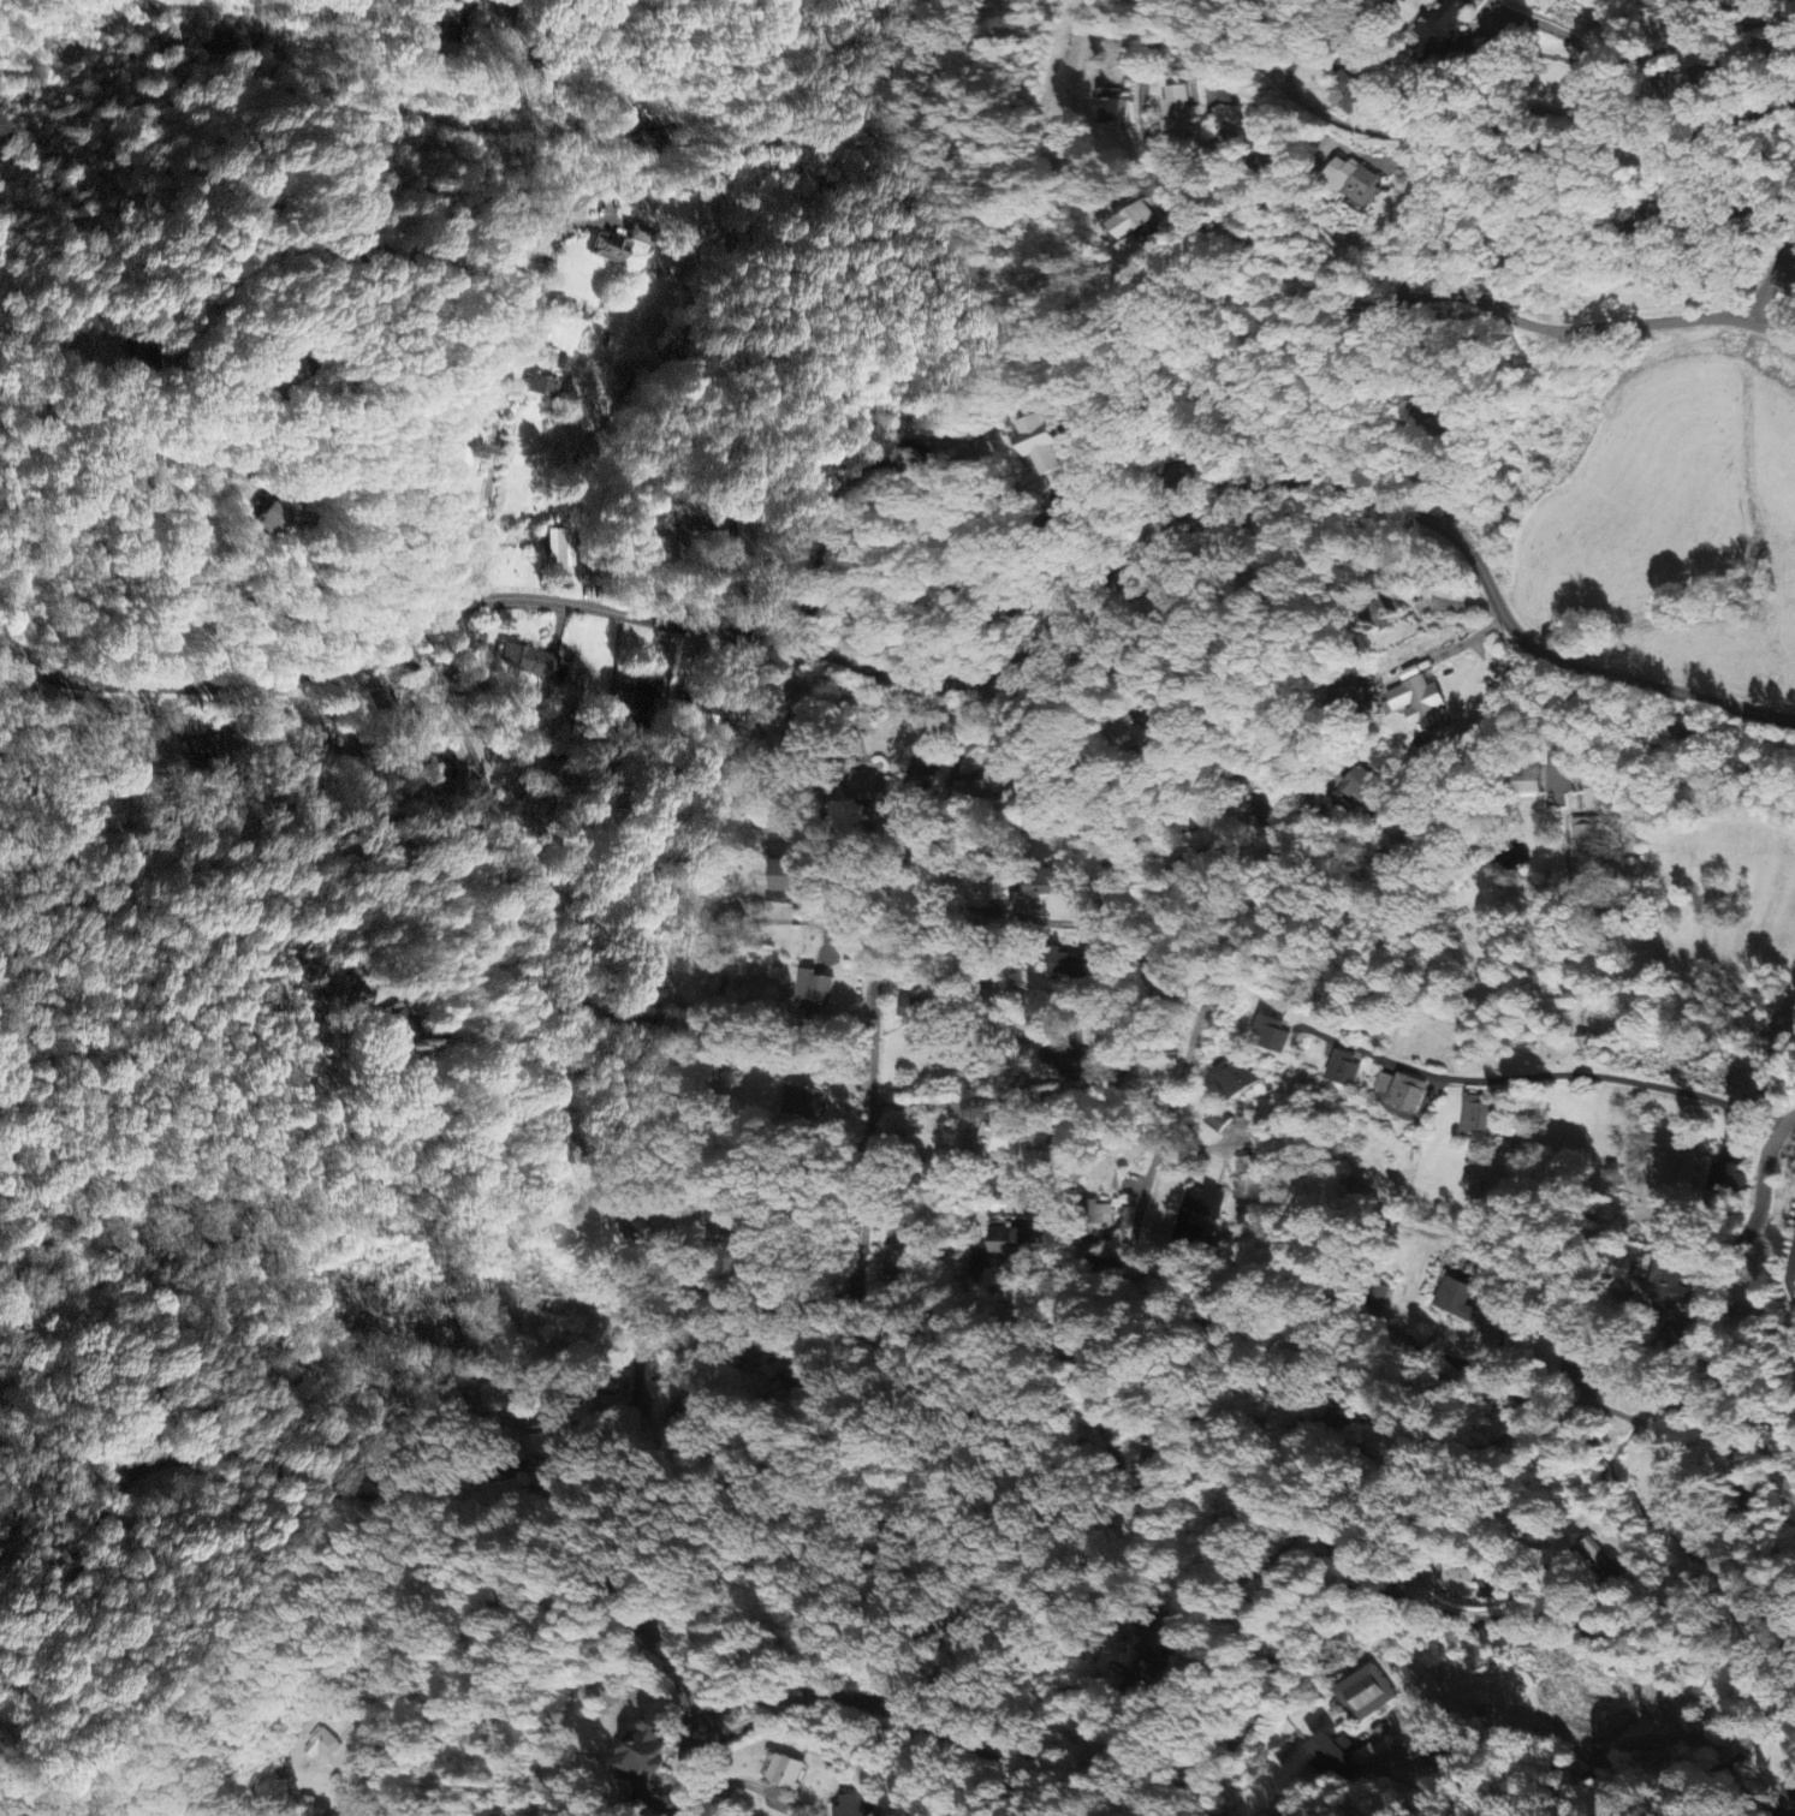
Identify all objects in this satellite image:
building: (1448, 36)
road: (1652, 36)
building: (1355, 99)
building: (1108, 109)
building: (1178, 111)
road: (1491, 114)
building: (629, 124)
building: (1355, 183)
building: (1133, 221)
building: (607, 251)
building: (1136, 251)
road: (228, 272)
building: (1789, 280)
road: (536, 296)
road: (1365, 304)
road: (684, 331)
building: (543, 388)
road: (934, 445)
building: (1038, 445)
building: (457, 463)
road: (1422, 471)
building: (268, 522)
building: (559, 548)
road: (1242, 588)
building: (534, 665)
road: (950, 683)
building: (380, 702)
building: (1419, 704)
building: (1128, 738)
building: (800, 743)
road: (1146, 761)
building: (442, 780)
building: (1359, 785)
building: (992, 786)
building: (867, 788)
road: (1675, 790)
building: (1615, 821)
building: (1587, 850)
building: (791, 876)
building: (1047, 885)
building: (1064, 965)
building: (814, 989)
road: (1623, 993)
road: (875, 996)
building: (919, 1011)
building: (397, 1025)
building: (1273, 1034)
building: (1066, 1059)
building: (1344, 1071)
building: (1232, 1079)
building: (1401, 1091)
building: (1480, 1115)
building: (997, 1139)
road: (1152, 1169)
building: (1725, 1178)
road: (488, 1204)
building: (1199, 1211)
building: (1015, 1243)
building: (902, 1264)
road: (1791, 1269)
building: (1672, 1281)
road: (854, 1297)
building: (1457, 1299)
building: (1678, 1341)
road: (1636, 1406)
road: (249, 1467)
road: (546, 1476)
road: (1047, 1623)
road: (1621, 1630)
building: (1154, 1641)
building: (1367, 1693)
building: (321, 1745)
road: (361, 1750)
road: (388, 1751)
building: (647, 1755)
building: (1335, 1760)
building: (787, 1773)
building: (852, 1806)

